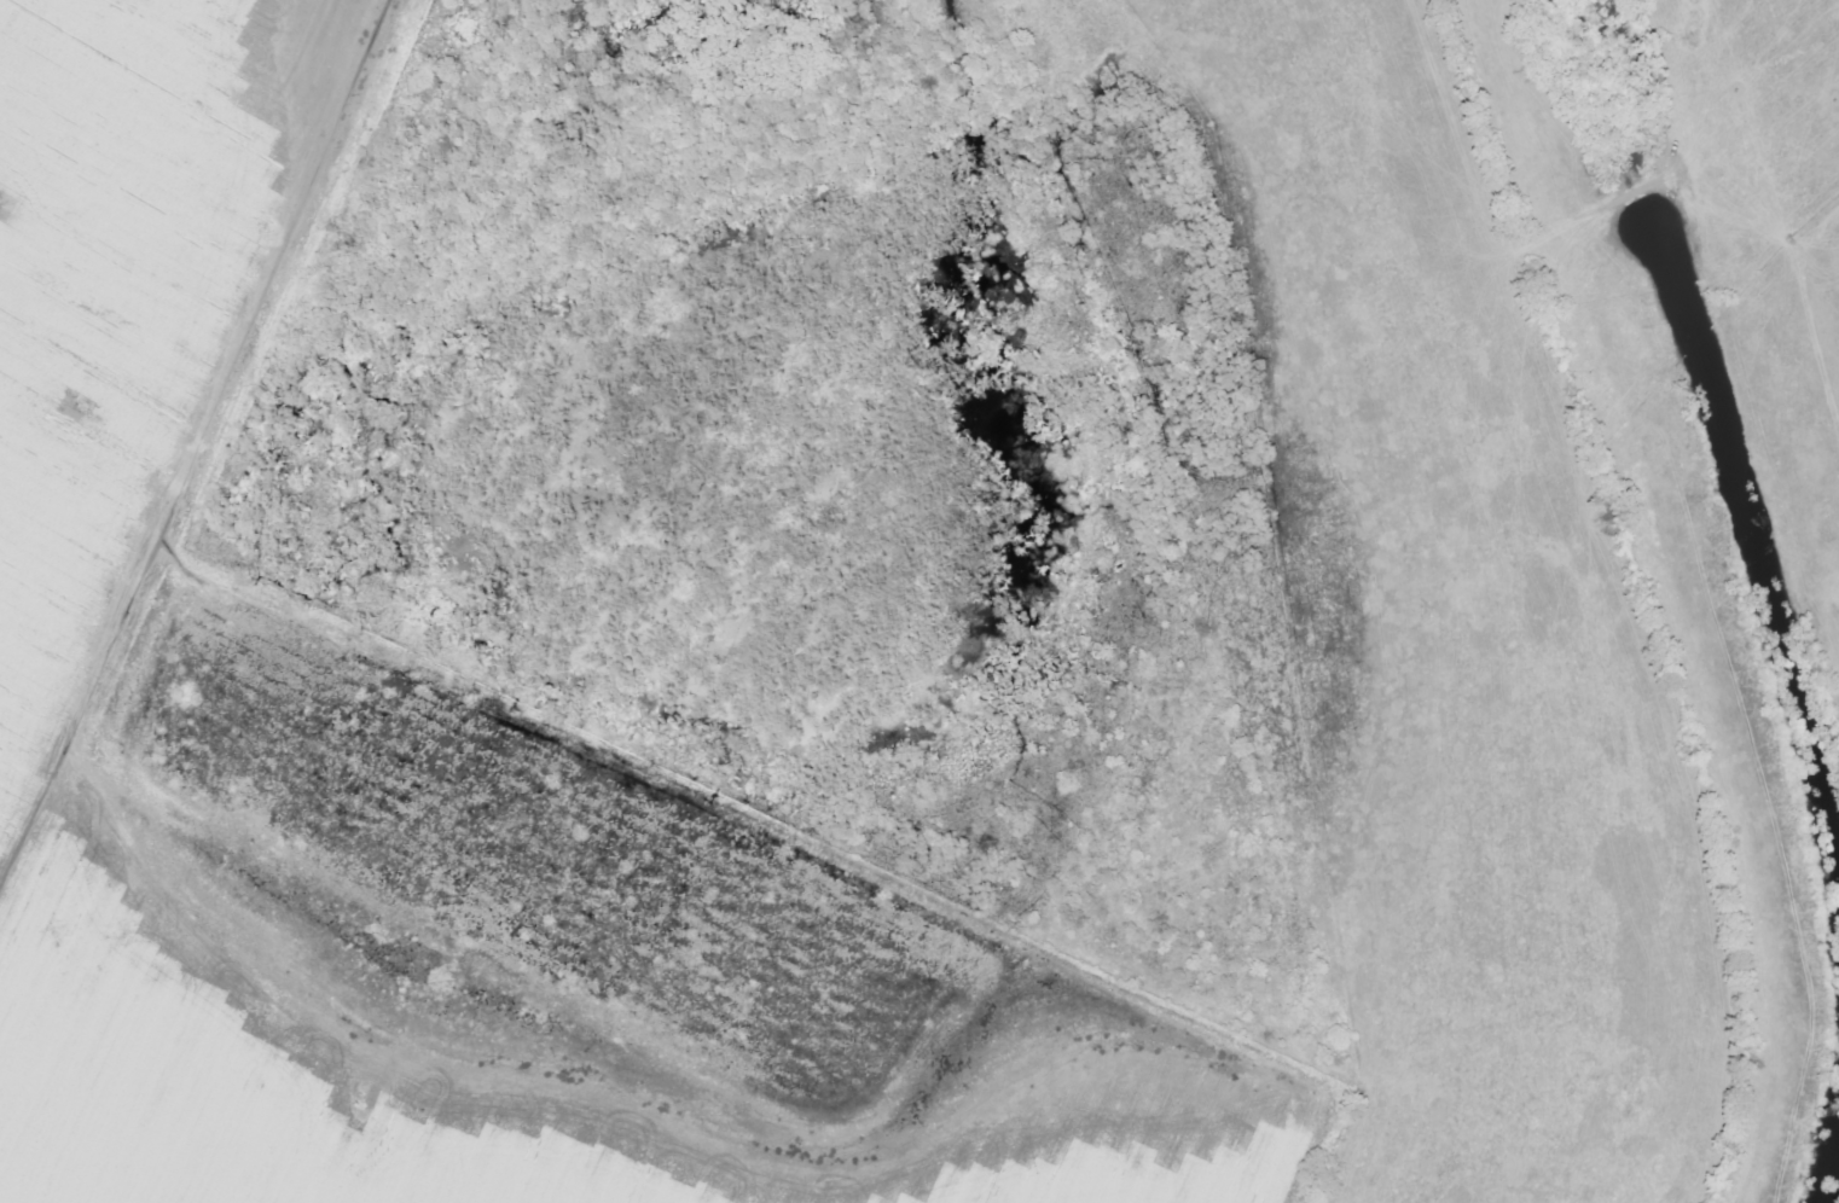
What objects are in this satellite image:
road: (1826, 261)

